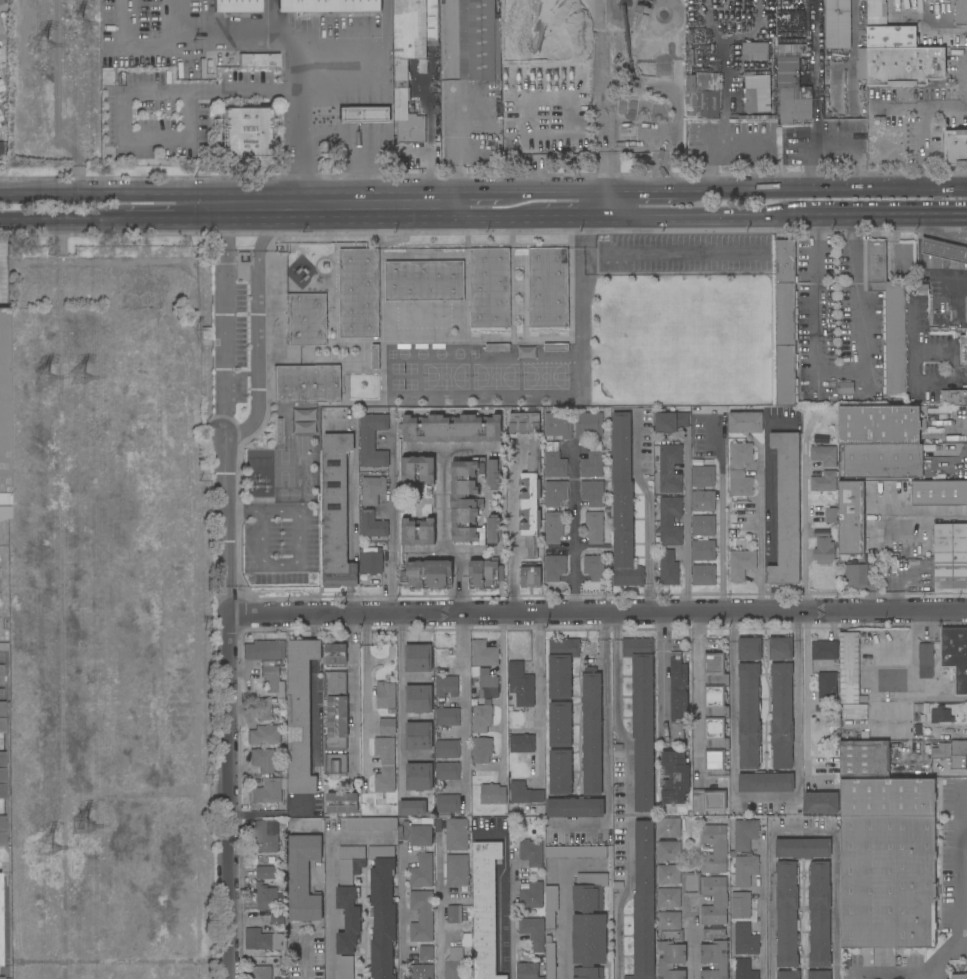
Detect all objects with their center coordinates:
building: (1, 2)
building: (235, 5)
building: (327, 5)
building: (0, 7)
building: (960, 12)
building: (837, 23)
power tower: (80, 26)
building: (414, 27)
building: (886, 30)
building: (1, 32)
building: (697, 32)
road: (242, 38)
building: (479, 41)
power tower: (46, 46)
building: (755, 51)
building: (1, 57)
building: (700, 58)
building: (258, 59)
building: (904, 65)
road: (964, 80)
road: (603, 84)
building: (1, 86)
road: (188, 91)
building: (791, 92)
building: (757, 93)
building: (703, 95)
road: (452, 97)
building: (775, 107)
road: (896, 108)
building: (363, 114)
building: (407, 117)
building: (1, 118)
building: (0, 125)
road: (920, 126)
building: (245, 131)
building: (631, 134)
road: (632, 136)
road: (706, 141)
road: (833, 141)
road: (350, 144)
building: (1, 148)
building: (955, 148)
road: (821, 192)
road: (557, 194)
road: (643, 194)
road: (480, 195)
road: (228, 196)
road: (611, 206)
road: (301, 208)
road: (353, 208)
road: (879, 217)
road: (573, 219)
road: (699, 219)
road: (359, 220)
road: (62, 221)
road: (152, 221)
road: (965, 226)
road: (934, 228)
road: (943, 236)
road: (954, 240)
road: (935, 248)
building: (944, 251)
road: (955, 253)
road: (670, 254)
road: (935, 265)
road: (956, 269)
road: (931, 273)
road: (962, 275)
building: (424, 281)
building: (489, 287)
building: (548, 287)
building: (921, 289)
building: (358, 293)
road: (582, 307)
road: (963, 316)
building: (889, 317)
building: (306, 319)
building: (785, 322)
road: (227, 327)
road: (258, 337)
building: (555, 347)
building: (497, 348)
building: (962, 349)
building: (375, 356)
road: (910, 367)
road: (838, 369)
power tower: (81, 381)
power tower: (46, 383)
building: (306, 383)
building: (845, 387)
building: (953, 397)
building: (4, 417)
building: (669, 422)
building: (744, 422)
building: (524, 423)
road: (951, 424)
building: (557, 425)
building: (587, 425)
building: (879, 425)
building: (451, 429)
building: (277, 430)
building: (372, 441)
building: (739, 454)
building: (823, 455)
building: (553, 461)
building: (592, 461)
building: (883, 461)
road: (963, 461)
building: (669, 469)
building: (417, 470)
building: (493, 474)
building: (702, 476)
building: (824, 482)
building: (739, 483)
building: (372, 490)
building: (938, 492)
building: (592, 493)
building: (554, 494)
building: (530, 499)
building: (464, 501)
building: (703, 501)
building: (622, 505)
road: (352, 508)
road: (262, 509)
building: (786, 509)
road: (926, 512)
building: (336, 513)
road: (648, 514)
building: (831, 515)
building: (850, 517)
building: (670, 520)
road: (226, 525)
building: (372, 525)
road: (392, 525)
road: (687, 526)
building: (703, 526)
building: (553, 527)
building: (593, 527)
building: (493, 528)
road: (575, 528)
building: (417, 532)
road: (513, 537)
road: (260, 538)
road: (300, 538)
road: (722, 539)
building: (703, 550)
building: (823, 551)
road: (758, 556)
building: (950, 556)
building: (371, 561)
building: (741, 564)
road: (280, 567)
building: (554, 568)
building: (593, 568)
building: (668, 568)
building: (856, 572)
building: (484, 573)
road: (351, 574)
building: (429, 574)
building: (703, 574)
building: (529, 577)
road: (349, 602)
road: (597, 613)
road: (463, 621)
road: (801, 630)
building: (749, 649)
building: (780, 649)
building: (264, 650)
building: (824, 650)
building: (335, 654)
building: (483, 654)
building: (925, 654)
building: (955, 656)
building: (418, 658)
building: (561, 666)
building: (848, 668)
road: (661, 673)
road: (910, 674)
building: (272, 677)
building: (487, 684)
building: (520, 684)
building: (827, 685)
building: (446, 686)
road: (699, 694)
building: (385, 695)
road: (501, 695)
building: (677, 696)
building: (418, 699)
road: (539, 699)
road: (366, 701)
road: (402, 702)
road: (734, 704)
building: (264, 708)
building: (2, 709)
building: (336, 710)
building: (300, 715)
building: (482, 715)
building: (715, 715)
building: (941, 715)
building: (781, 716)
building: (447, 717)
building: (748, 717)
building: (642, 719)
building: (560, 724)
building: (2, 725)
building: (387, 726)
building: (591, 732)
building: (264, 735)
building: (418, 736)
building: (521, 741)
road: (608, 742)
building: (447, 749)
building: (482, 750)
building: (951, 753)
building: (864, 758)
building: (2, 759)
building: (263, 759)
building: (335, 765)
building: (384, 765)
building: (447, 771)
building: (560, 772)
building: (2, 775)
building: (419, 777)
building: (674, 777)
building: (765, 782)
building: (2, 791)
building: (268, 791)
building: (524, 793)
building: (493, 794)
road: (227, 797)
road: (766, 797)
building: (708, 801)
building: (342, 802)
building: (447, 803)
building: (821, 803)
building: (575, 807)
building: (412, 808)
road: (273, 815)
building: (2, 822)
building: (372, 824)
road: (804, 825)
building: (668, 828)
power tower: (88, 829)
building: (457, 834)
building: (418, 835)
building: (266, 836)
building: (2, 839)
power tower: (50, 848)
building: (802, 848)
building: (713, 849)
building: (668, 851)
building: (531, 853)
building: (575, 853)
building: (732, 853)
building: (887, 863)
building: (456, 870)
building: (421, 871)
building: (266, 872)
building: (668, 874)
building: (303, 878)
building: (690, 883)
building: (532, 895)
building: (266, 897)
building: (349, 898)
road: (562, 898)
building: (668, 898)
building: (713, 900)
road: (773, 902)
road: (835, 902)
building: (643, 903)
building: (740, 905)
road: (332, 906)
road: (617, 906)
building: (550, 907)
building: (485, 908)
road: (438, 909)
building: (382, 911)
road: (402, 911)
building: (786, 914)
building: (819, 914)
building: (421, 916)
building: (459, 917)
road: (513, 917)
building: (277, 918)
building: (588, 926)
road: (962, 932)
building: (532, 933)
road: (693, 939)
building: (263, 940)
building: (745, 940)
building: (670, 946)
building: (426, 952)
building: (714, 954)
road: (305, 956)
building: (550, 958)
building: (454, 964)
building: (346, 967)
building: (744, 970)
building: (420, 971)
building: (527, 971)
building: (261, 972)
building: (787, 975)
building: (818, 975)
building: (960, 976)
building: (1, 978)
building: (282, 978)

